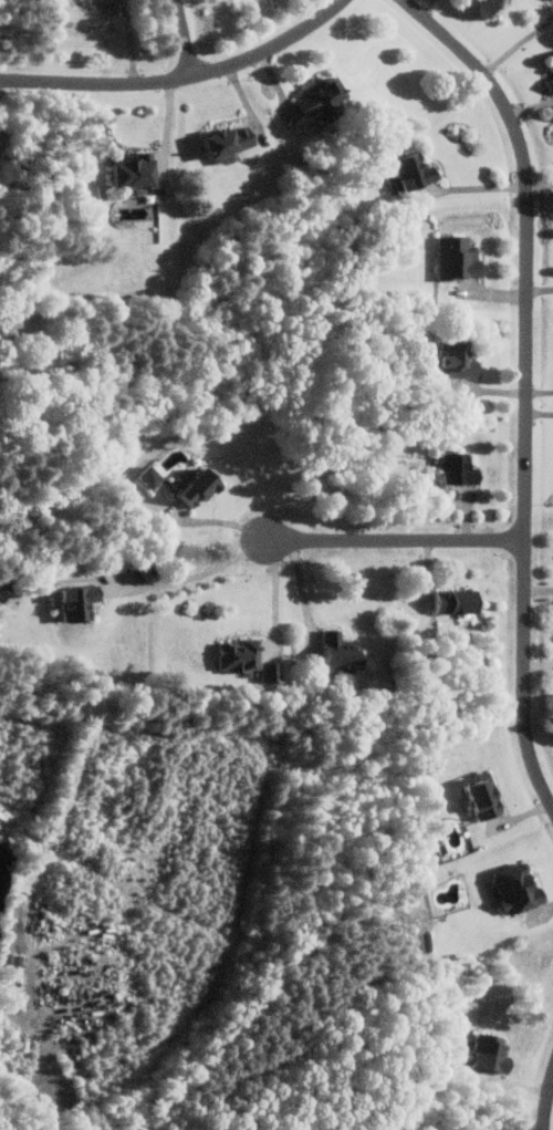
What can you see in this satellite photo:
road: (186, 37)
road: (129, 41)
road: (519, 44)
building: (552, 56)
road: (181, 77)
building: (552, 80)
building: (324, 95)
road: (168, 132)
building: (231, 143)
building: (138, 172)
building: (416, 172)
road: (474, 188)
road: (528, 247)
building: (459, 258)
road: (540, 289)
building: (459, 359)
road: (540, 391)
road: (540, 412)
building: (461, 467)
building: (150, 476)
building: (201, 486)
road: (398, 538)
road: (200, 573)
building: (4, 590)
road: (539, 590)
road: (276, 592)
road: (305, 592)
building: (81, 600)
building: (458, 600)
building: (342, 650)
building: (242, 654)
building: (273, 671)
road: (524, 675)
building: (486, 797)
building: (520, 887)
building: (427, 943)
road: (11, 1013)
building: (492, 1053)
road: (545, 1099)

